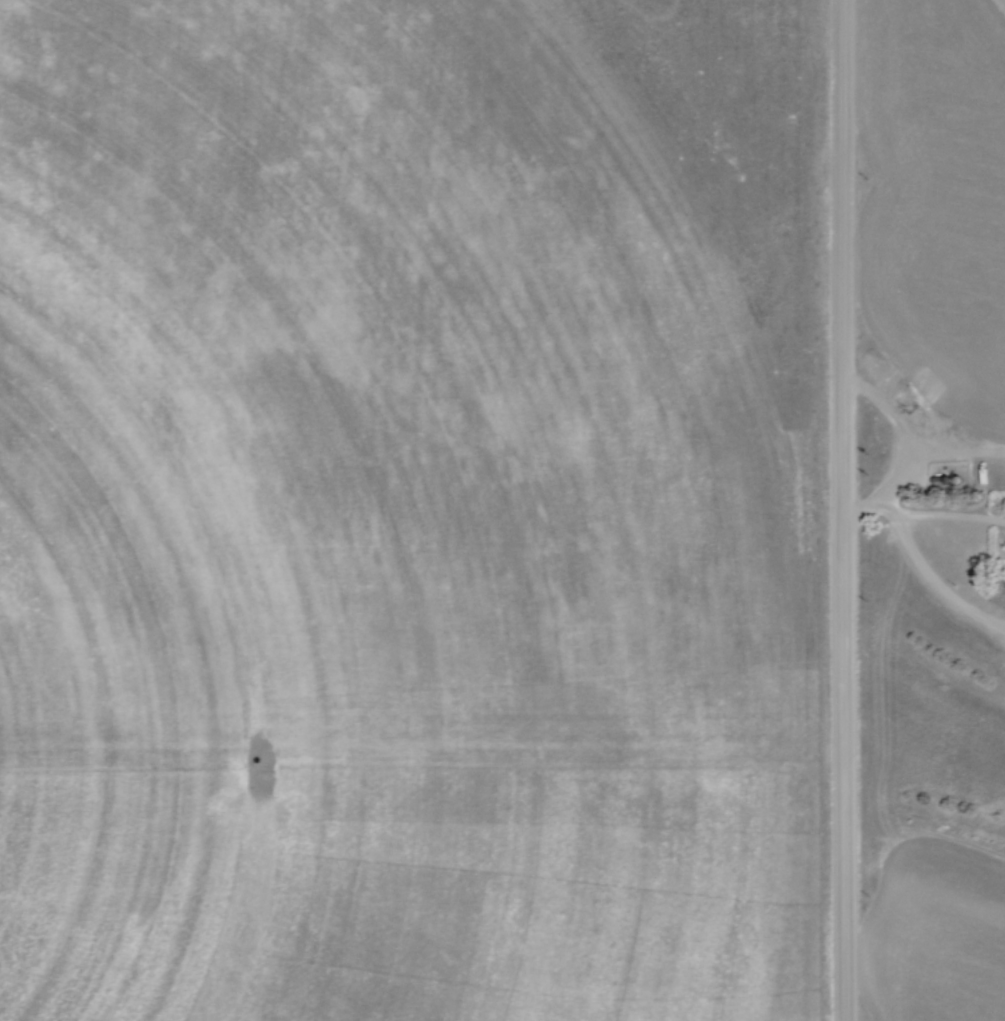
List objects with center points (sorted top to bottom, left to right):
road: (910, 448)
road: (848, 510)

